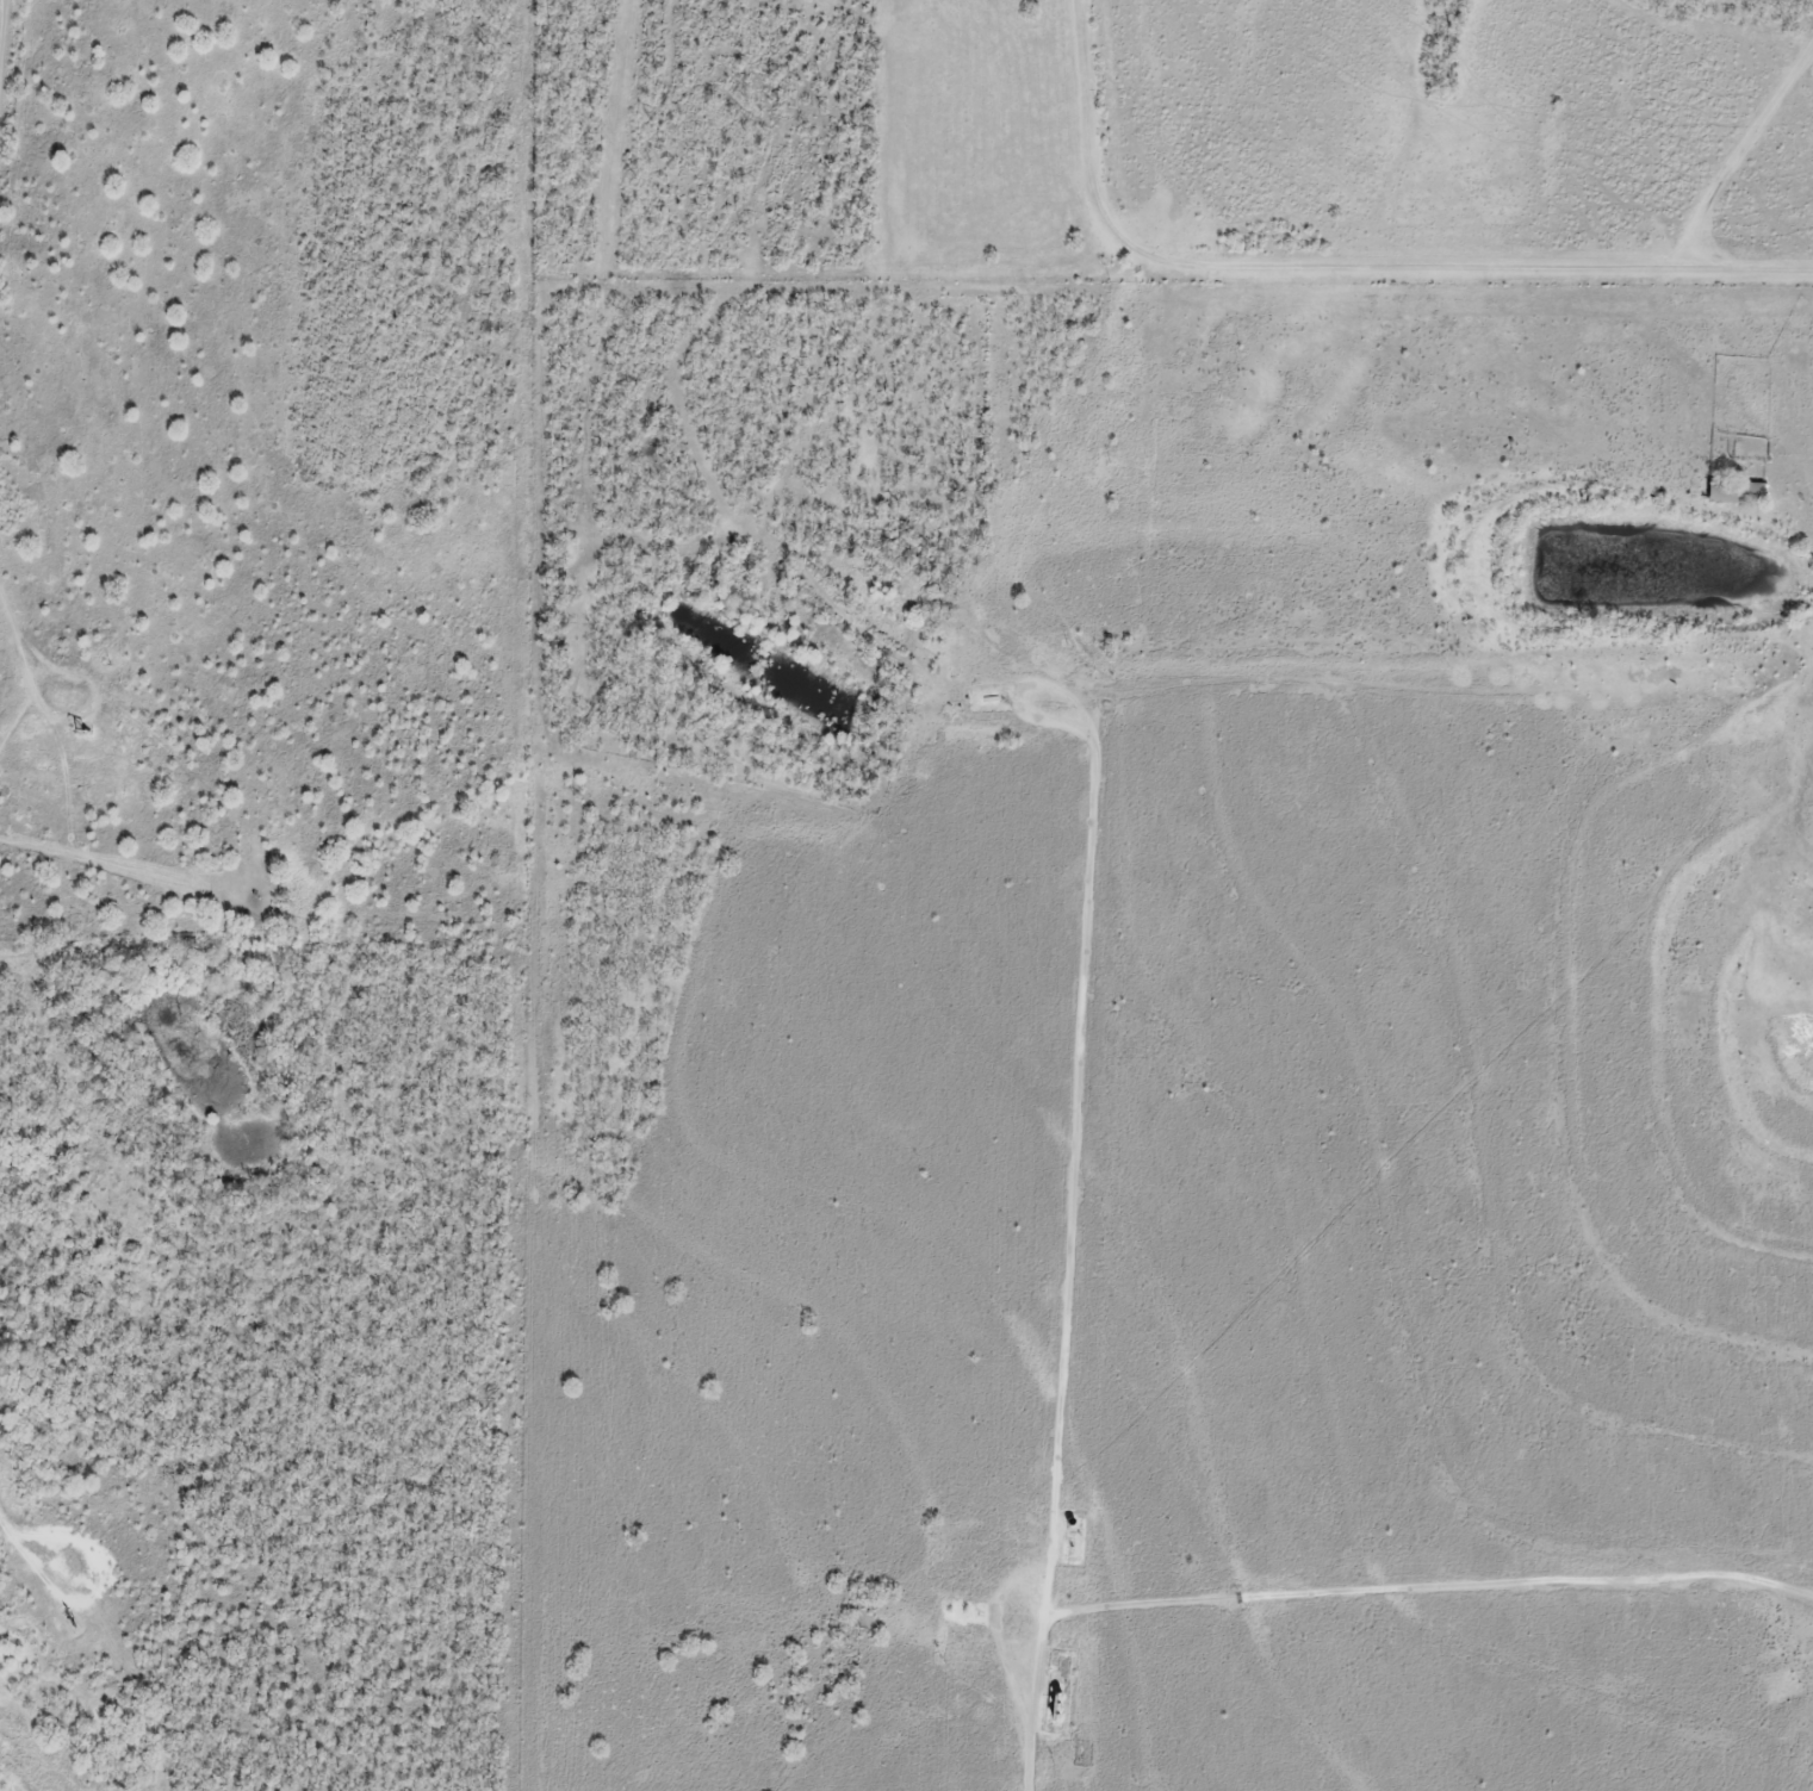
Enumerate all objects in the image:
building: (1736, 492)
building: (1796, 929)

